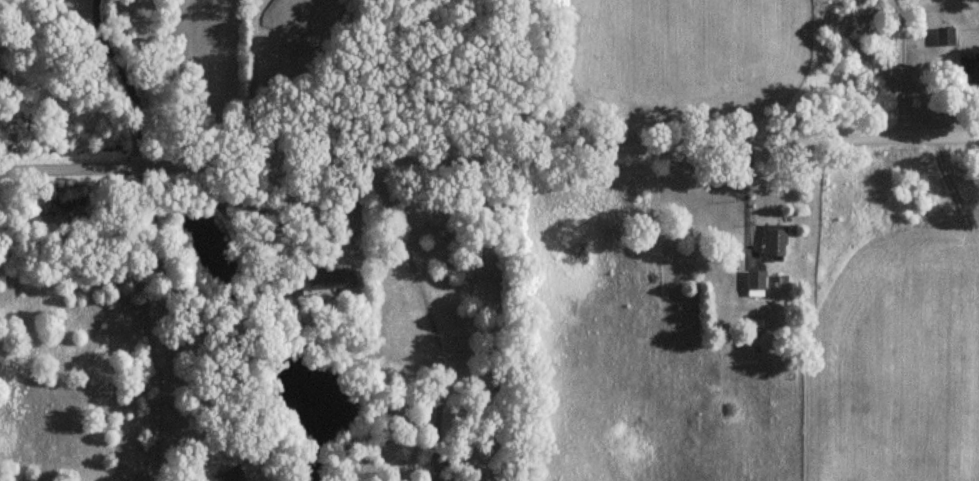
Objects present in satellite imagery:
building: (942, 35)
building: (969, 68)
road: (248, 81)
road: (123, 83)
road: (489, 157)
building: (771, 241)
building: (321, 279)
building: (754, 283)
road: (441, 316)
road: (169, 324)
building: (753, 326)
building: (222, 475)

